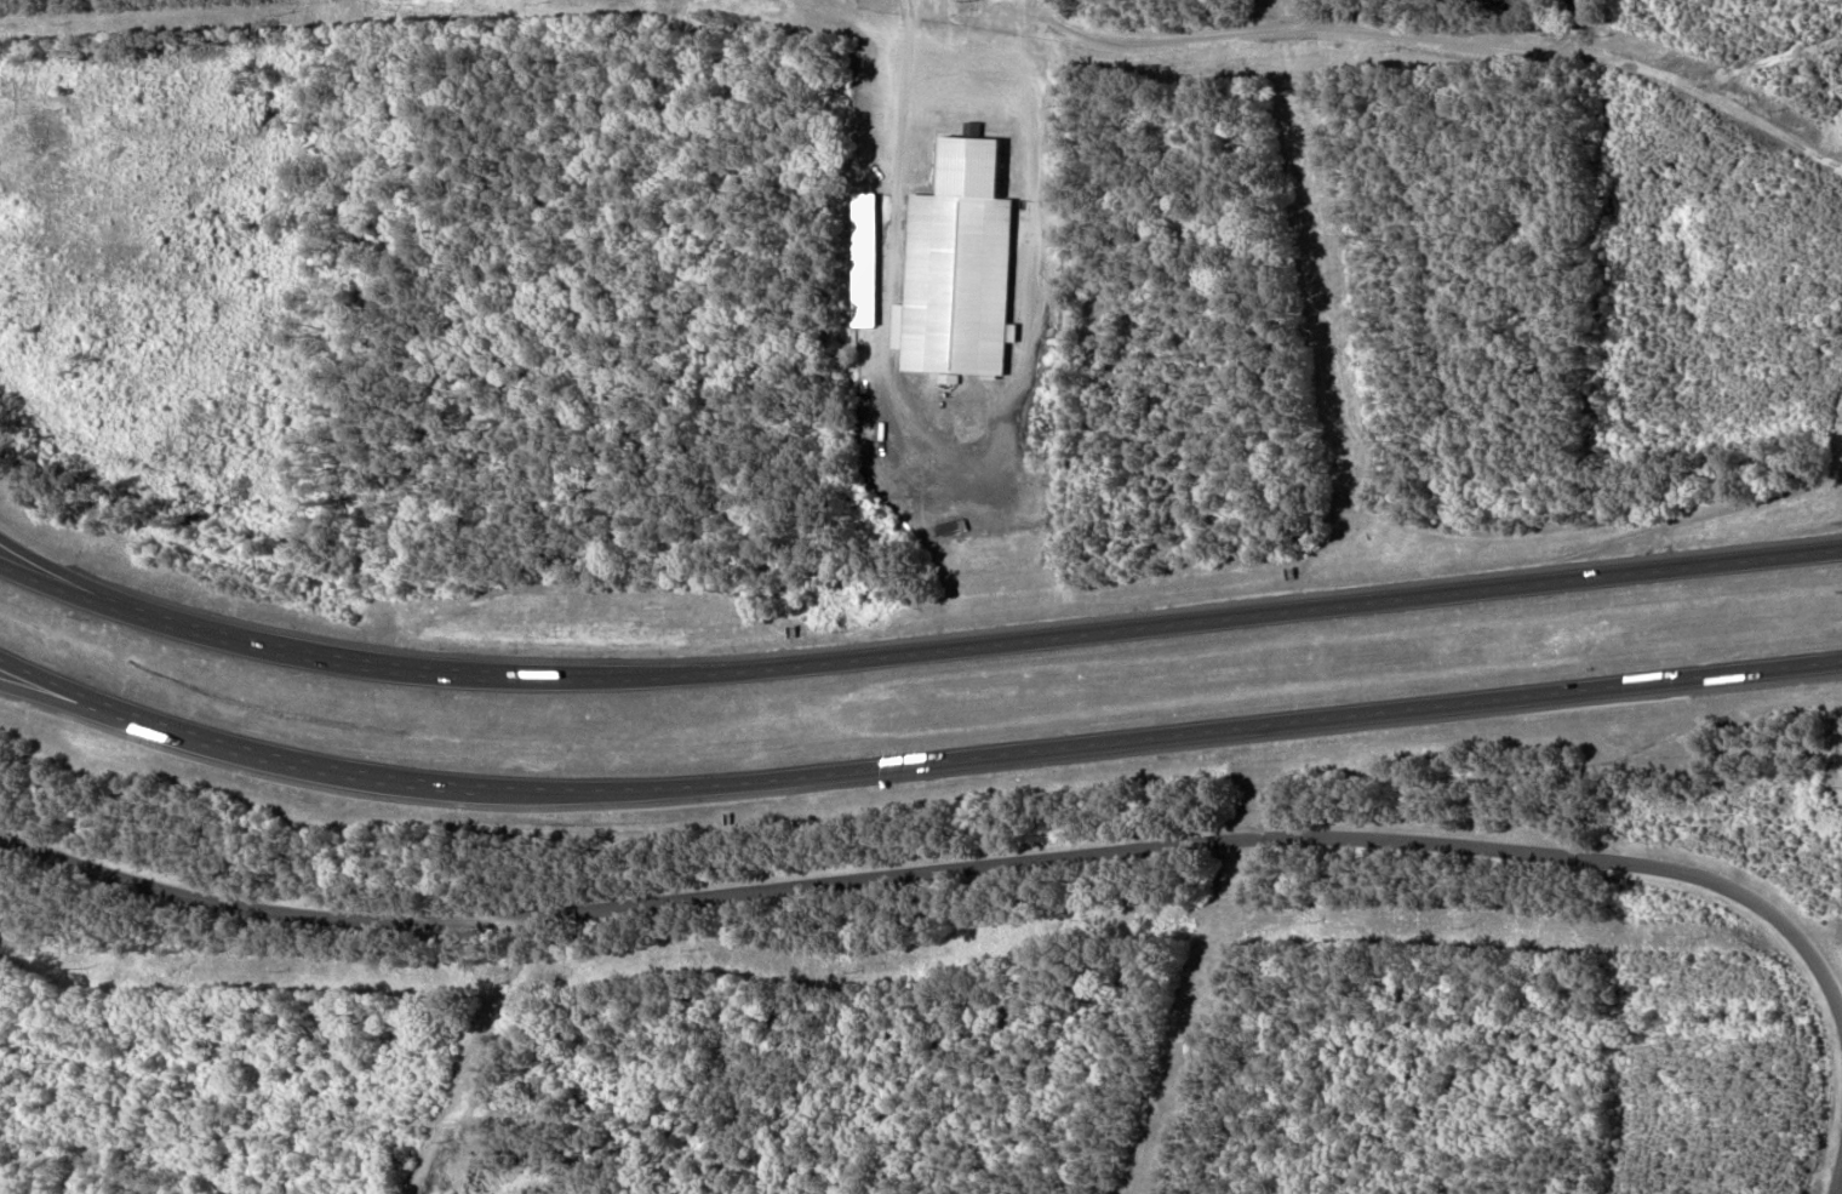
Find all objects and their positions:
road: (1434, 45)
road: (1837, 132)
building: (960, 267)
road: (63, 579)
road: (63, 594)
road: (983, 642)
road: (93, 693)
road: (93, 708)
road: (1013, 752)
road: (951, 869)
road: (515, 1058)
road: (1830, 1165)

